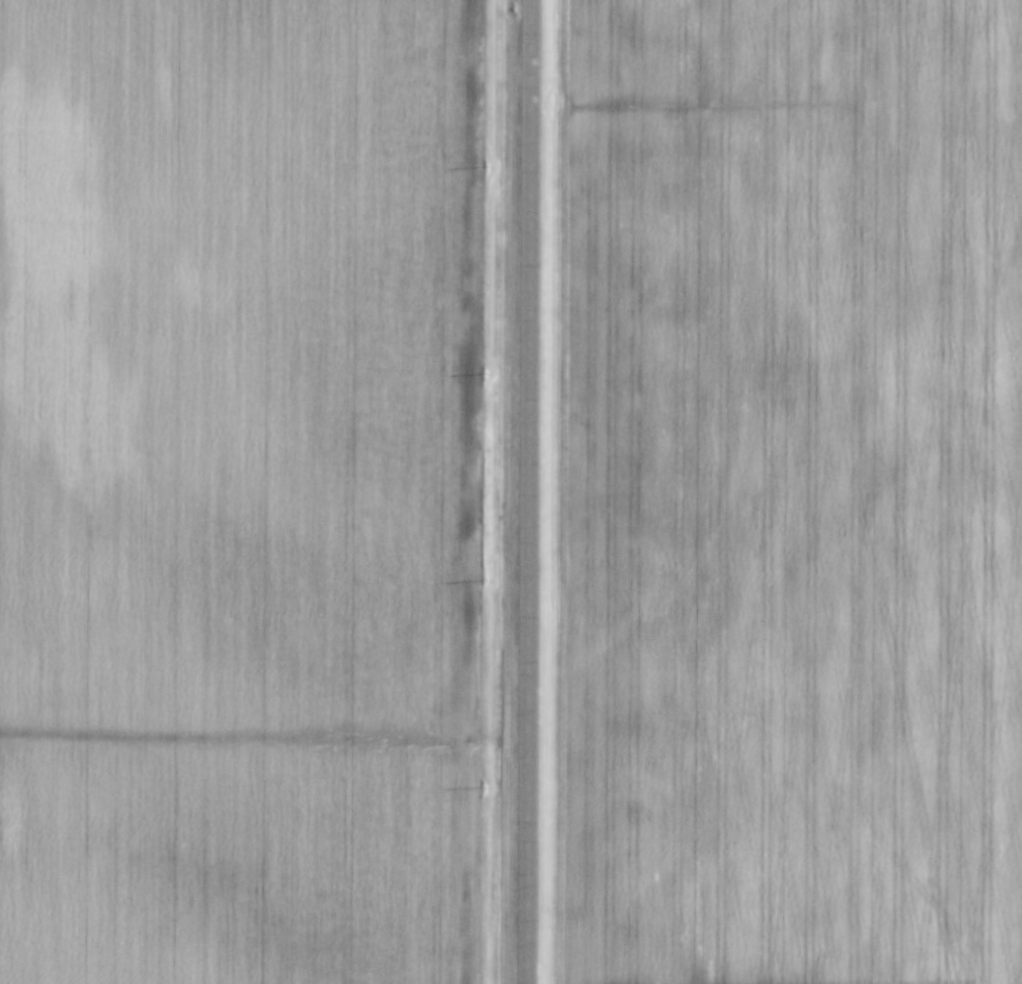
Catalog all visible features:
road: (531, 491)

